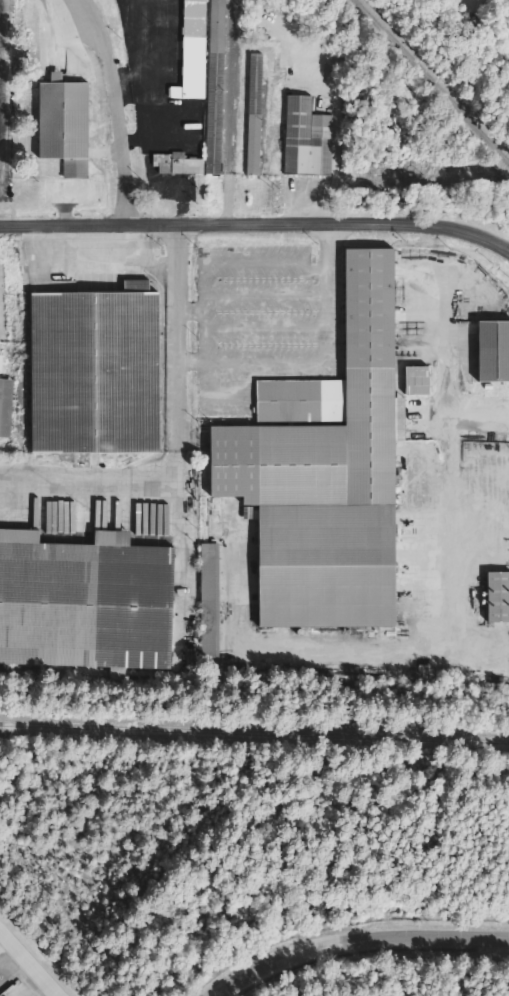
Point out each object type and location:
building: (218, 26)
building: (195, 50)
railway: (429, 84)
building: (176, 93)
road: (119, 109)
building: (255, 115)
building: (65, 125)
building: (214, 136)
building: (307, 140)
building: (178, 165)
road: (256, 224)
building: (486, 351)
building: (1, 363)
building: (97, 371)
building: (418, 381)
building: (6, 407)
building: (327, 471)
building: (491, 597)
building: (85, 602)
building: (210, 603)
railway: (254, 734)

